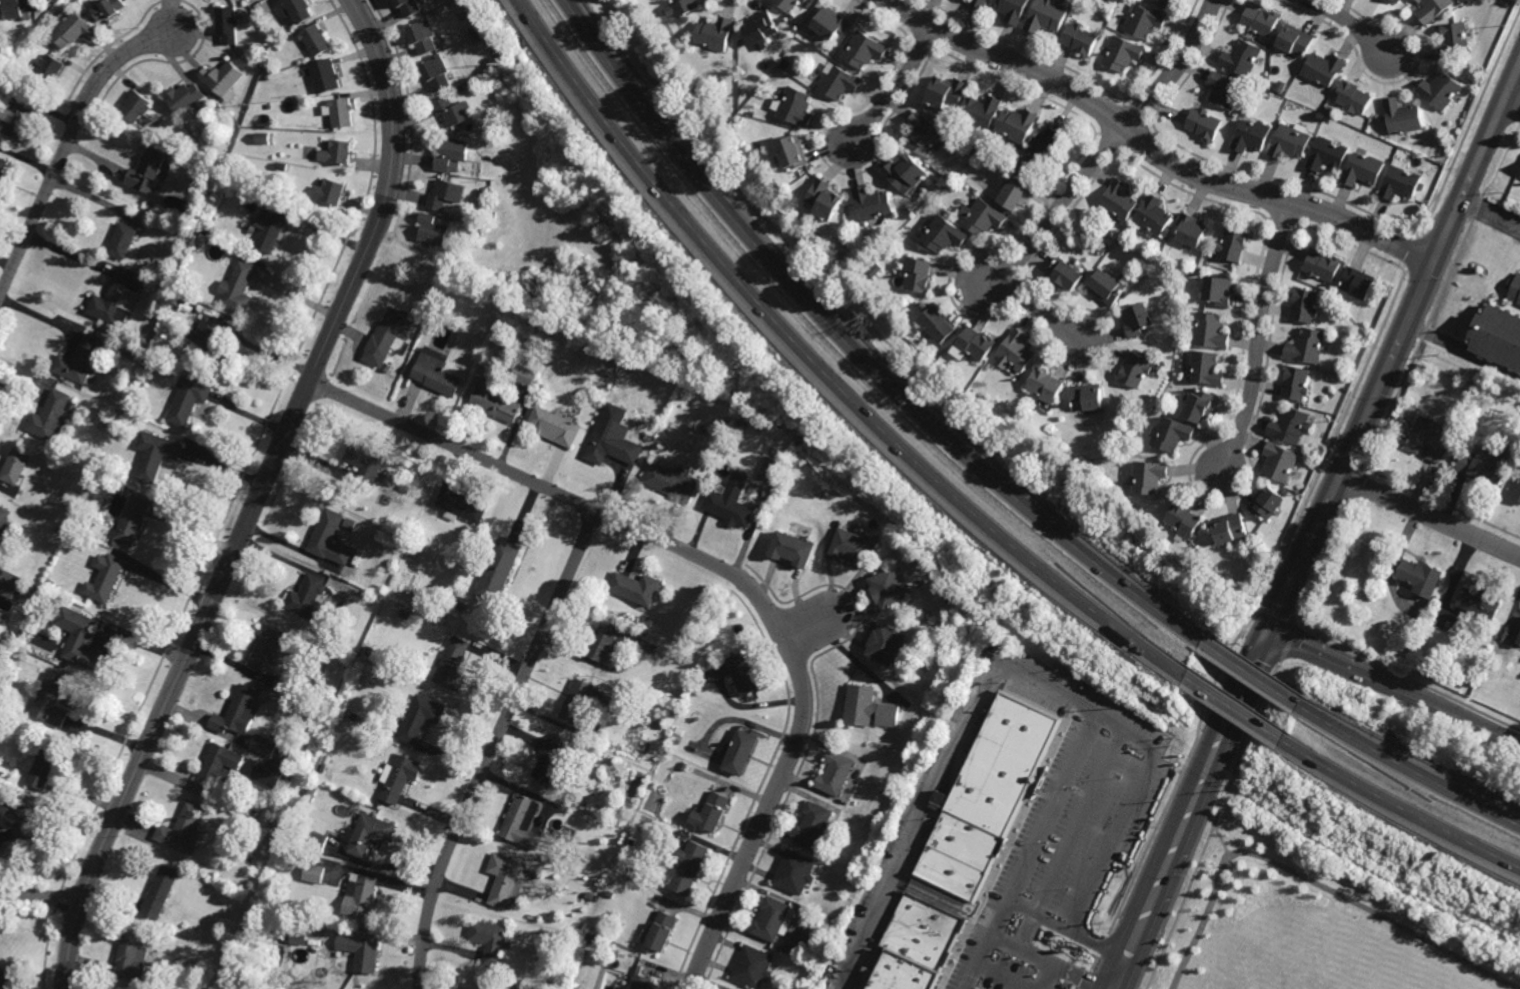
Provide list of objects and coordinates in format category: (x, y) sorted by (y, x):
building: (1397, 1)
building: (254, 2)
building: (792, 4)
building: (979, 4)
building: (1163, 4)
building: (408, 7)
building: (682, 7)
building: (19, 8)
building: (1434, 9)
building: (109, 10)
building: (1012, 10)
building: (299, 11)
building: (792, 18)
building: (1046, 18)
building: (1261, 22)
road: (1350, 22)
building: (1145, 23)
building: (831, 24)
building: (228, 25)
building: (73, 30)
building: (761, 30)
building: (715, 34)
building: (424, 37)
building: (480, 40)
building: (316, 41)
building: (1079, 41)
building: (1453, 41)
building: (1296, 42)
building: (866, 51)
building: (1123, 55)
building: (1243, 59)
building: (786, 64)
power tower: (502, 67)
building: (1324, 70)
building: (49, 71)
building: (437, 74)
building: (326, 77)
building: (225, 79)
building: (840, 83)
building: (1283, 88)
road: (897, 89)
building: (1225, 91)
building: (1441, 91)
building: (455, 93)
building: (947, 95)
building: (1354, 99)
building: (185, 100)
road: (1511, 103)
building: (271, 107)
building: (136, 108)
building: (796, 108)
building: (1331, 111)
building: (453, 112)
building: (980, 113)
building: (342, 114)
building: (752, 115)
building: (1403, 119)
building: (15, 120)
building: (738, 121)
building: (1205, 125)
building: (1017, 127)
building: (164, 128)
building: (925, 135)
building: (1253, 138)
building: (266, 140)
road: (65, 144)
building: (1290, 144)
road: (1106, 145)
road: (1151, 150)
building: (974, 153)
building: (758, 154)
building: (338, 155)
building: (794, 155)
building: (451, 156)
building: (1043, 156)
building: (1328, 157)
building: (3, 167)
building: (151, 170)
building: (1363, 171)
building: (908, 175)
building: (1400, 181)
building: (925, 189)
building: (333, 190)
building: (1016, 192)
building: (446, 193)
building: (826, 198)
building: (1119, 200)
building: (874, 205)
building: (982, 215)
building: (1154, 215)
building: (166, 218)
road: (1488, 218)
building: (273, 226)
building: (1192, 228)
building: (432, 229)
building: (479, 231)
building: (945, 232)
building: (190, 233)
building: (1126, 235)
building: (124, 239)
building: (1234, 243)
building: (1101, 249)
building: (1321, 265)
building: (1149, 266)
building: (877, 269)
power tower: (663, 270)
building: (920, 273)
building: (1064, 273)
building: (1358, 281)
building: (240, 286)
building: (1106, 286)
building: (1515, 288)
building: (1219, 290)
building: (115, 299)
building: (1304, 304)
building: (206, 307)
road: (1035, 309)
building: (485, 311)
building: (1137, 318)
building: (937, 322)
building: (1211, 330)
building: (1499, 334)
road: (1259, 335)
building: (386, 337)
building: (209, 341)
building: (973, 343)
road: (1396, 344)
building: (1307, 345)
road: (854, 348)
building: (536, 350)
building: (1016, 350)
road: (1462, 352)
building: (82, 359)
building: (152, 365)
building: (386, 367)
road: (821, 367)
building: (1207, 368)
building: (1134, 369)
building: (436, 372)
building: (607, 373)
building: (525, 374)
building: (1296, 383)
building: (1045, 384)
building: (1471, 393)
building: (1087, 396)
building: (978, 397)
building: (189, 399)
building: (495, 401)
building: (1200, 404)
building: (73, 406)
building: (52, 416)
building: (557, 425)
building: (1291, 425)
building: (119, 426)
building: (1172, 434)
building: (1430, 438)
building: (613, 447)
building: (156, 455)
building: (1280, 462)
building: (365, 465)
building: (1483, 465)
building: (16, 466)
power tower: (835, 466)
building: (771, 468)
building: (342, 476)
building: (1149, 476)
building: (672, 482)
building: (406, 489)
building: (1517, 494)
road: (257, 496)
building: (732, 502)
building: (1267, 503)
building: (462, 506)
road: (1431, 517)
building: (1184, 519)
building: (134, 520)
building: (6, 522)
building: (1230, 528)
building: (330, 539)
building: (118, 545)
building: (852, 546)
building: (414, 548)
building: (793, 549)
road: (1393, 561)
building: (500, 570)
road: (730, 571)
building: (106, 577)
building: (1421, 577)
building: (9, 583)
building: (52, 584)
building: (637, 588)
building: (889, 589)
building: (312, 602)
building: (1480, 603)
building: (39, 614)
road: (1277, 617)
building: (648, 621)
road: (804, 628)
traffic signals: (1273, 630)
building: (646, 632)
power tower: (1031, 634)
building: (79, 637)
building: (605, 641)
road: (1288, 642)
building: (1519, 642)
building: (886, 645)
building: (1, 647)
building: (1411, 647)
building: (266, 649)
building: (370, 651)
building: (453, 665)
road: (1250, 672)
building: (744, 674)
road: (1025, 676)
building: (368, 682)
building: (282, 684)
road: (1396, 687)
building: (52, 701)
building: (579, 701)
road: (1232, 706)
building: (871, 709)
building: (237, 713)
building: (419, 718)
building: (679, 731)
building: (302, 745)
road: (494, 745)
building: (273, 749)
building: (739, 753)
building: (550, 762)
building: (45, 765)
building: (684, 766)
building: (219, 767)
road: (1407, 767)
building: (258, 768)
building: (322, 768)
building: (836, 774)
building: (400, 779)
building: (853, 782)
power tower: (1260, 790)
building: (310, 795)
building: (986, 796)
road: (1398, 805)
road: (1180, 806)
road: (1200, 809)
road: (1127, 811)
building: (713, 812)
building: (19, 819)
building: (264, 822)
road: (1077, 822)
building: (522, 823)
building: (812, 824)
road: (1213, 824)
building: (183, 829)
building: (830, 831)
building: (369, 834)
building: (318, 841)
road: (1221, 841)
building: (632, 842)
building: (315, 860)
building: (689, 866)
building: (794, 871)
building: (313, 873)
building: (550, 878)
building: (504, 879)
road: (1310, 880)
building: (249, 884)
building: (161, 891)
building: (610, 894)
road: (41, 896)
building: (360, 896)
power tower: (1472, 909)
park: (1313, 915)
building: (773, 918)
building: (662, 930)
road: (1026, 932)
road: (1073, 933)
building: (298, 935)
building: (591, 937)
building: (490, 940)
building: (917, 944)
building: (360, 952)
building: (822, 952)
building: (133, 953)
road: (1047, 962)
building: (752, 967)
building: (7, 977)
road: (1048, 977)
road: (1001, 978)
building: (640, 982)
building: (487, 986)
building: (506, 986)
building: (514, 986)
building: (495, 988)

